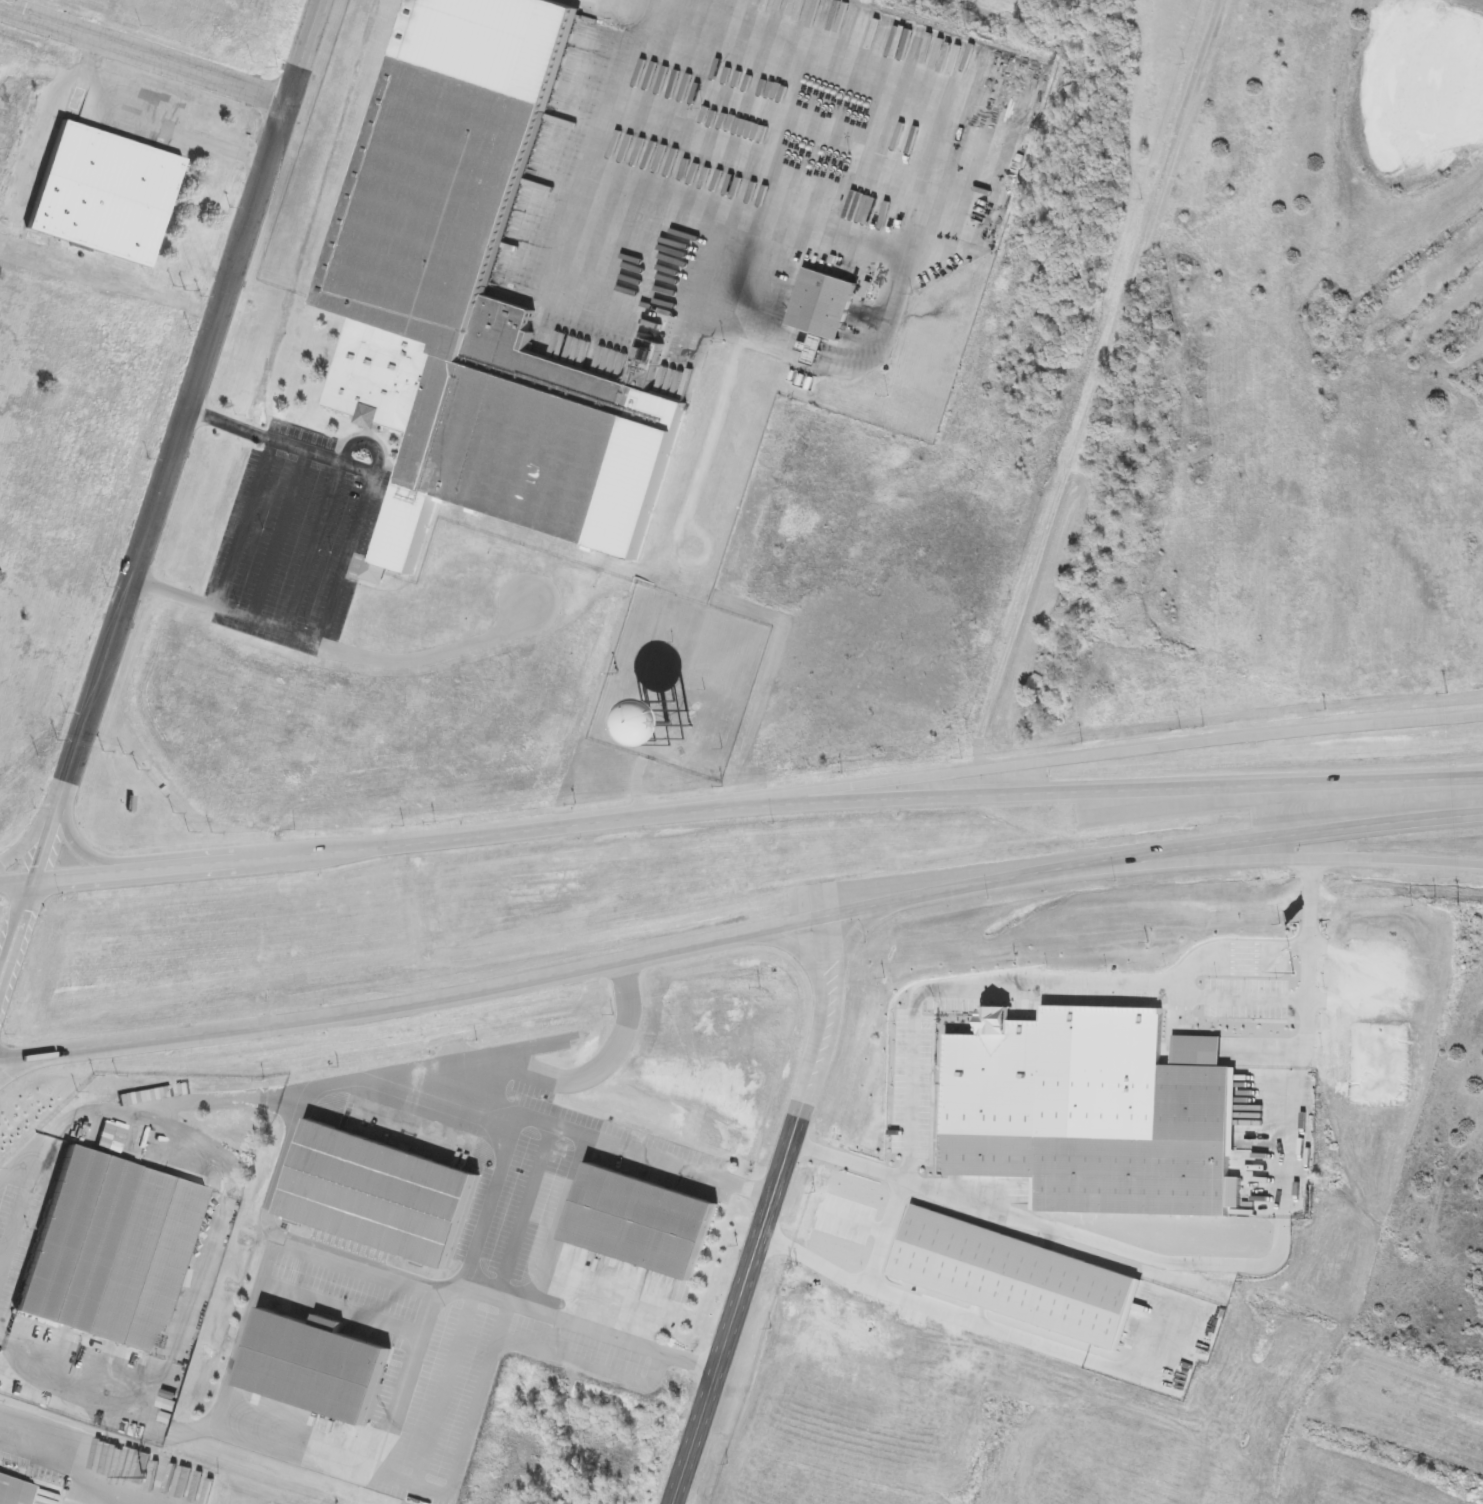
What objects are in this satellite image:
road: (814, 50)
road: (307, 60)
road: (144, 65)
building: (102, 194)
building: (472, 277)
building: (820, 305)
building: (651, 355)
road: (1107, 382)
road: (245, 523)
road: (145, 531)
road: (344, 556)
road: (417, 664)
building: (651, 722)
road: (1060, 758)
road: (1061, 793)
road: (1448, 818)
road: (320, 853)
road: (1274, 856)
road: (868, 908)
road: (1305, 955)
road: (1398, 979)
road: (1021, 984)
road: (1231, 998)
road: (1181, 1016)
road: (162, 1037)
road: (1196, 1051)
road: (1259, 1054)
road: (310, 1088)
road: (485, 1093)
building: (1086, 1113)
road: (20, 1159)
road: (664, 1161)
road: (849, 1161)
building: (375, 1193)
road: (769, 1214)
building: (638, 1221)
building: (105, 1245)
road: (268, 1264)
road: (1188, 1265)
road: (394, 1281)
road: (468, 1288)
road: (485, 1294)
road: (179, 1312)
road: (424, 1314)
road: (606, 1334)
road: (237, 1358)
building: (310, 1365)
road: (471, 1419)
road: (307, 1460)
road: (84, 1474)
power tower: (149, 1476)
road: (382, 1483)
building: (13, 1490)

